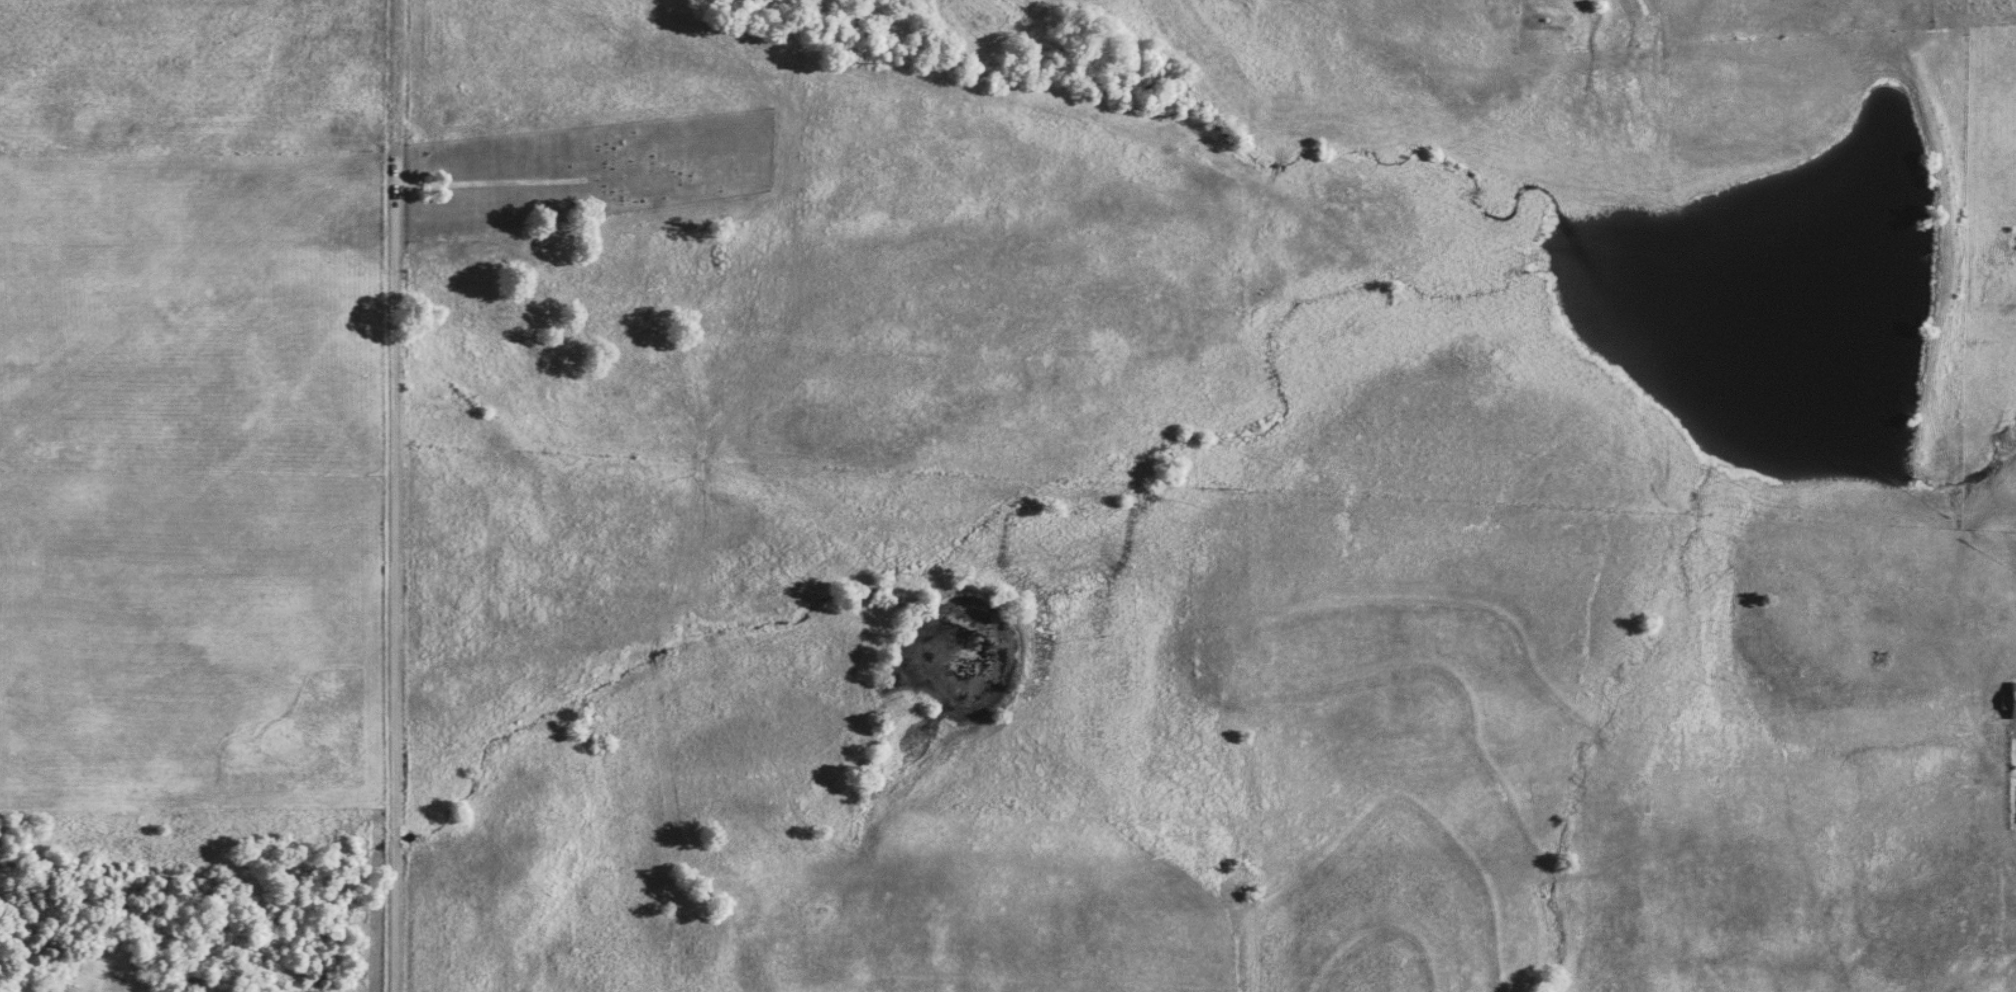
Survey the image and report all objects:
park: (591, 171)
road: (394, 575)

